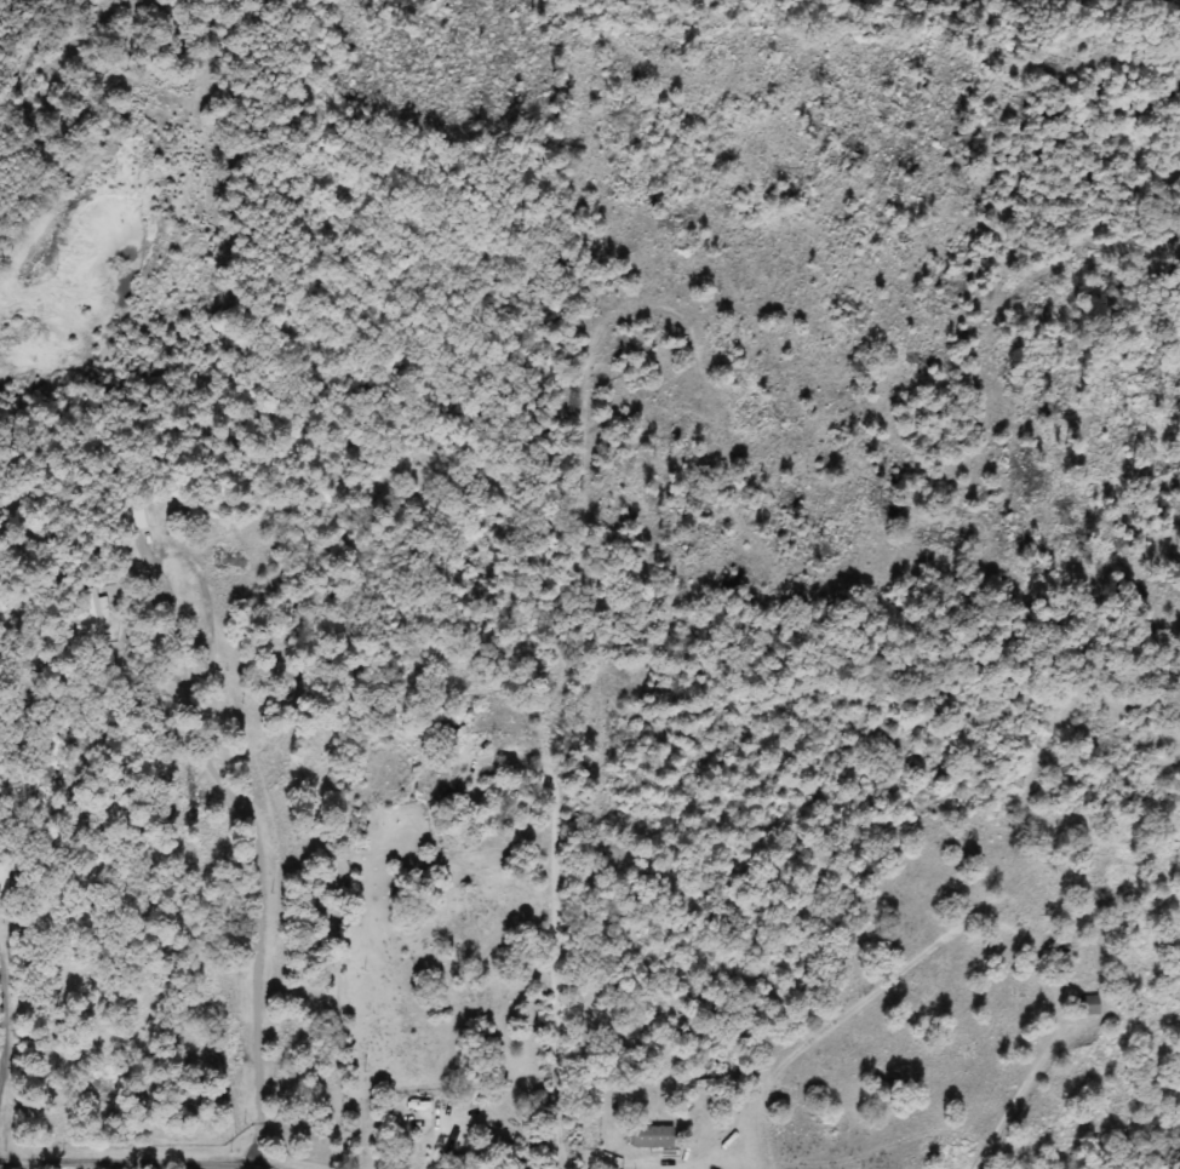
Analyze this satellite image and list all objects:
building: (151, 518)
building: (136, 520)
building: (93, 618)
building: (1088, 1005)
building: (651, 1138)
road: (132, 1161)

